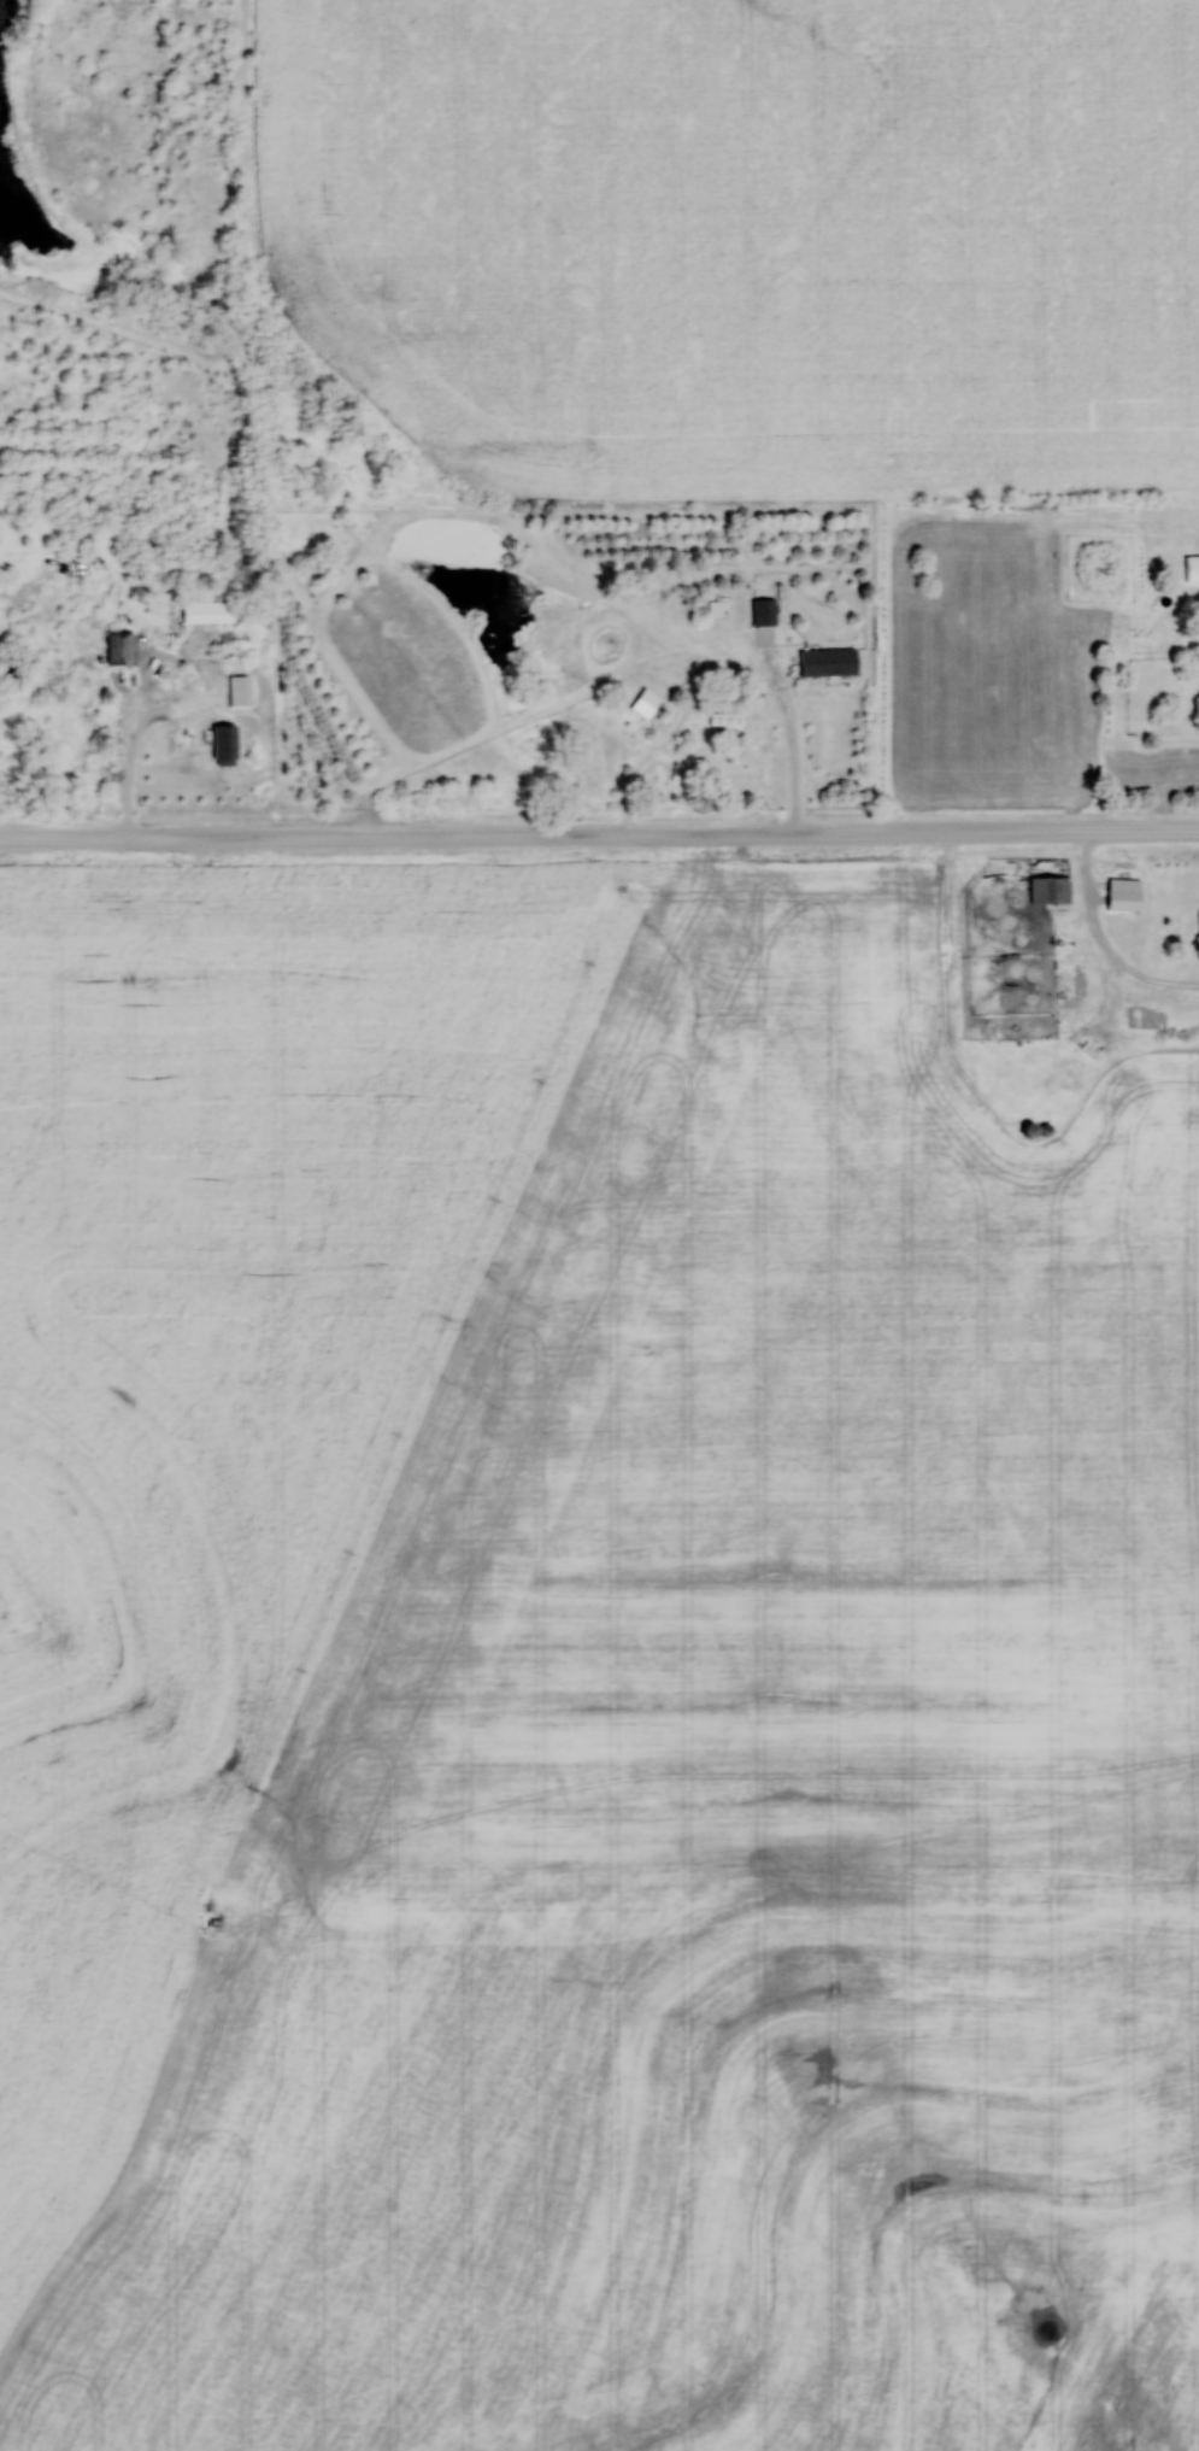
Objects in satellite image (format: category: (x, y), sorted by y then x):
building: (765, 612)
building: (123, 650)
building: (237, 651)
building: (829, 663)
building: (55, 678)
building: (728, 720)
building: (228, 745)
road: (599, 833)
building: (1051, 890)
building: (1125, 895)

